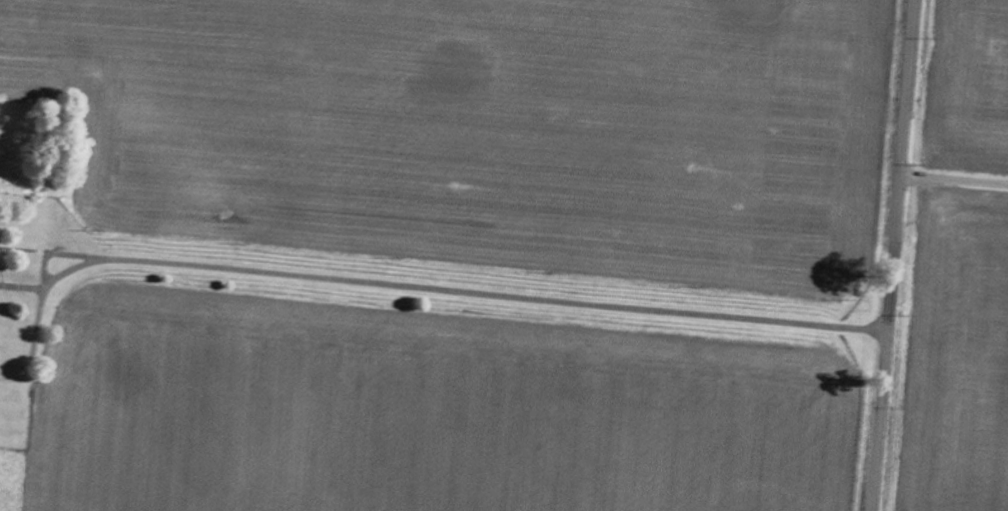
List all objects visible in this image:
road: (954, 157)
road: (892, 255)
road: (405, 285)

